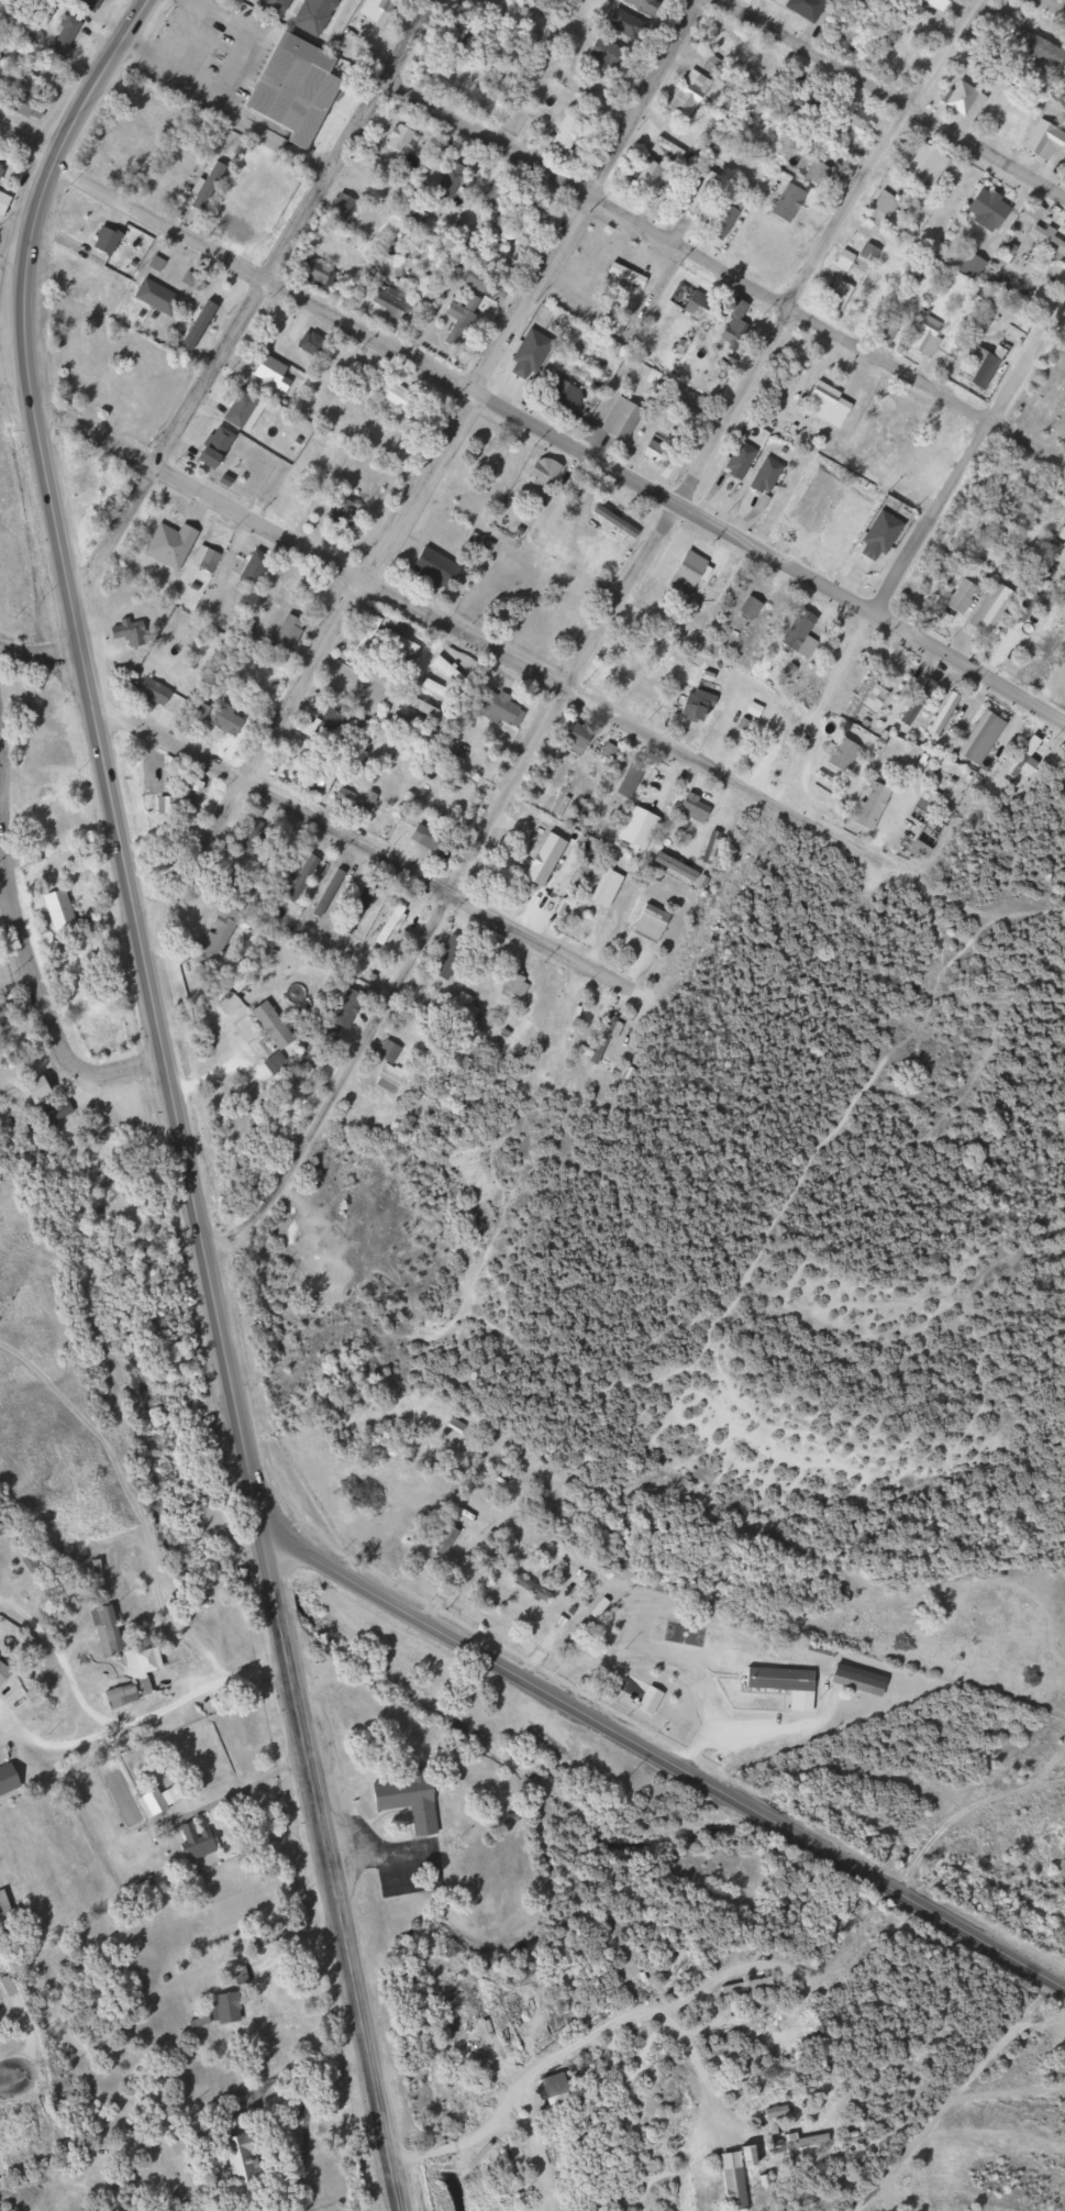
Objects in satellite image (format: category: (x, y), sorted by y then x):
building: (778, 0)
building: (750, 1)
road: (1055, 4)
building: (647, 5)
building: (810, 8)
building: (381, 11)
building: (725, 40)
building: (470, 42)
building: (1040, 51)
building: (611, 54)
building: (719, 66)
building: (301, 88)
road: (887, 96)
building: (683, 99)
building: (966, 99)
building: (31, 104)
building: (569, 134)
building: (401, 139)
building: (1043, 141)
building: (673, 147)
building: (112, 157)
building: (930, 163)
building: (655, 176)
building: (5, 185)
building: (209, 188)
building: (792, 202)
building: (887, 204)
building: (511, 206)
building: (342, 209)
building: (983, 209)
road: (27, 210)
building: (539, 225)
building: (243, 231)
building: (109, 241)
building: (873, 254)
building: (848, 259)
building: (968, 267)
road: (723, 274)
building: (630, 276)
building: (485, 284)
building: (842, 296)
building: (157, 298)
road: (253, 300)
building: (391, 303)
building: (702, 305)
building: (464, 319)
building: (736, 325)
building: (892, 329)
building: (198, 335)
building: (922, 335)
building: (312, 344)
building: (522, 362)
building: (977, 367)
building: (273, 372)
building: (398, 397)
building: (567, 397)
building: (1050, 398)
building: (831, 405)
building: (243, 409)
building: (618, 423)
road: (532, 428)
building: (219, 447)
road: (969, 455)
building: (500, 457)
building: (742, 461)
road: (425, 474)
building: (546, 474)
building: (769, 476)
building: (98, 484)
building: (345, 513)
building: (619, 521)
building: (846, 531)
road: (300, 546)
building: (209, 559)
building: (255, 566)
building: (694, 568)
building: (439, 570)
building: (317, 596)
building: (958, 596)
building: (754, 608)
building: (987, 608)
building: (803, 633)
building: (368, 638)
road: (599, 638)
building: (454, 672)
building: (441, 690)
building: (165, 693)
building: (863, 696)
building: (355, 700)
building: (911, 701)
building: (702, 706)
building: (200, 708)
building: (507, 709)
building: (432, 711)
building: (940, 714)
road: (607, 715)
building: (235, 719)
building: (976, 738)
building: (580, 741)
road: (103, 752)
building: (836, 754)
building: (1019, 756)
building: (635, 782)
road: (768, 800)
building: (357, 802)
building: (864, 805)
road: (0, 806)
building: (698, 809)
building: (583, 819)
road: (312, 820)
building: (642, 829)
building: (431, 841)
building: (714, 849)
building: (680, 867)
building: (307, 878)
building: (610, 889)
building: (333, 894)
building: (63, 909)
building: (359, 910)
building: (653, 924)
building: (392, 926)
building: (222, 939)
road: (33, 979)
building: (517, 986)
building: (277, 1026)
building: (392, 1071)
building: (44, 1091)
building: (62, 1114)
building: (441, 1540)
building: (40, 1560)
building: (111, 1630)
road: (64, 1662)
building: (5, 1671)
building: (140, 1677)
building: (854, 1680)
building: (779, 1684)
road: (202, 1685)
road: (58, 1743)
road: (661, 1760)
building: (11, 1780)
building: (165, 1800)
building: (413, 1802)
road: (178, 1814)
building: (199, 1842)
road: (329, 1869)
building: (750, 1987)
building: (229, 2009)
road: (566, 2036)
road: (5, 2077)
road: (176, 2108)
building: (802, 2146)
building: (248, 2159)
building: (503, 2167)
building: (736, 2181)
building: (525, 2200)

